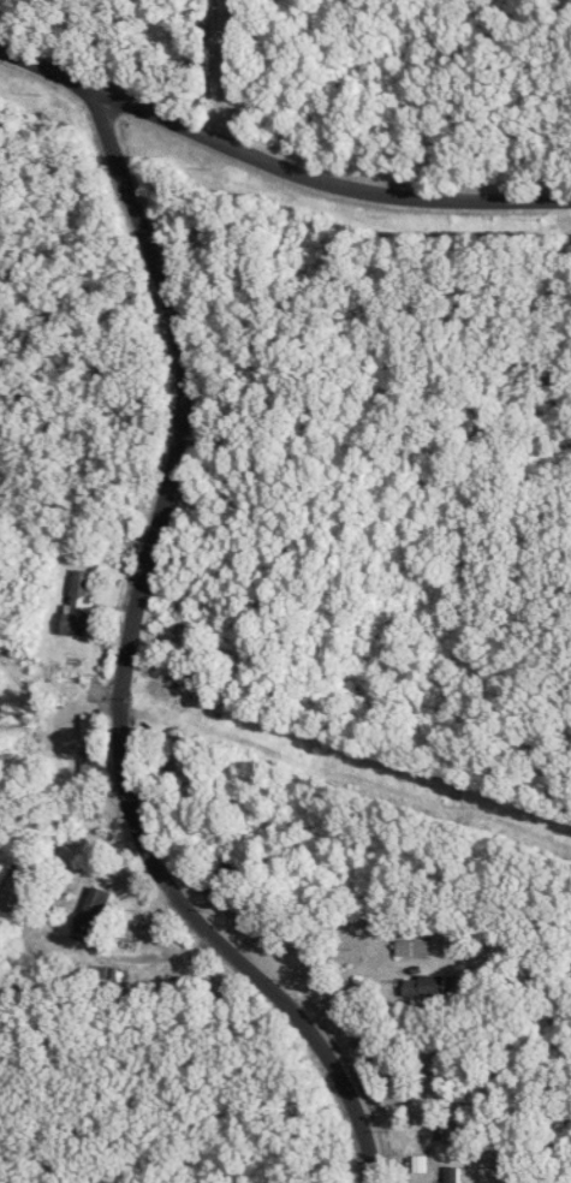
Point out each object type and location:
road: (221, 72)
road: (274, 166)
building: (81, 605)
road: (125, 655)
building: (87, 765)
building: (95, 915)
building: (416, 949)
building: (432, 986)

